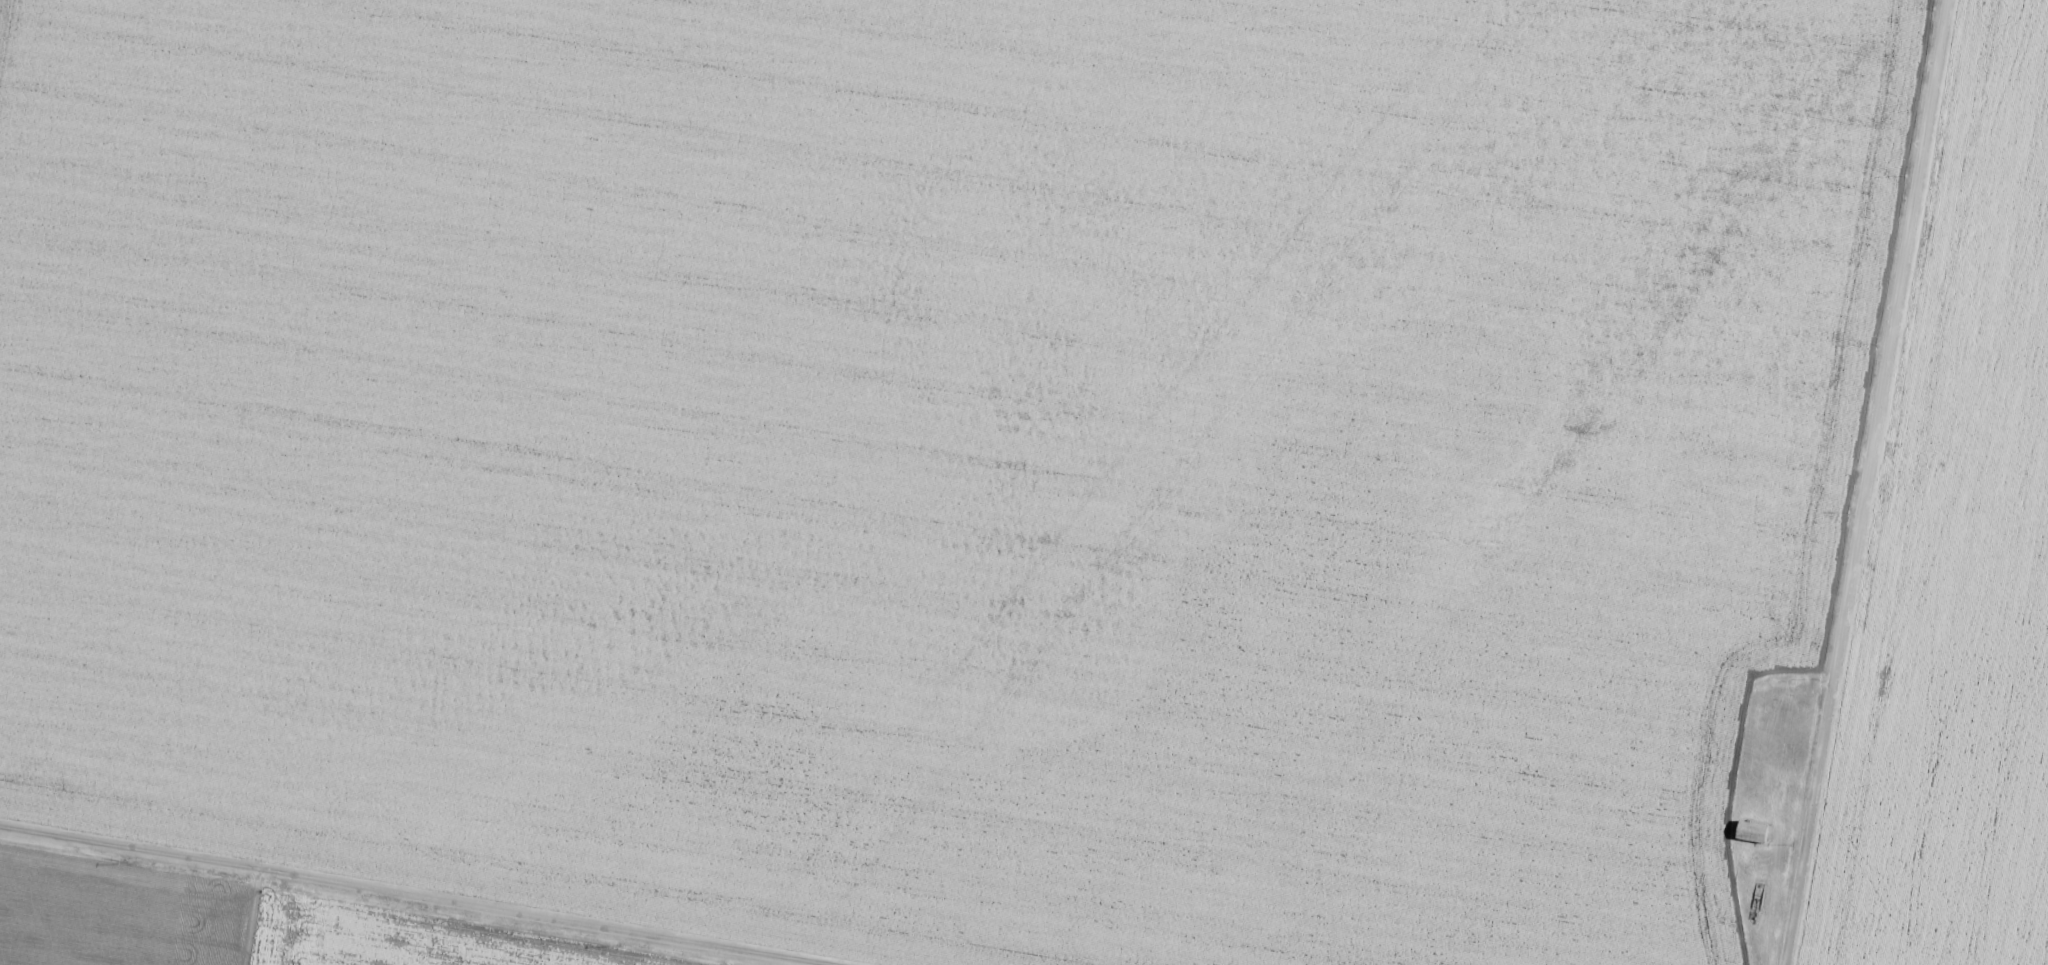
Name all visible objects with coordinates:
road: (1869, 482)
road: (397, 898)

